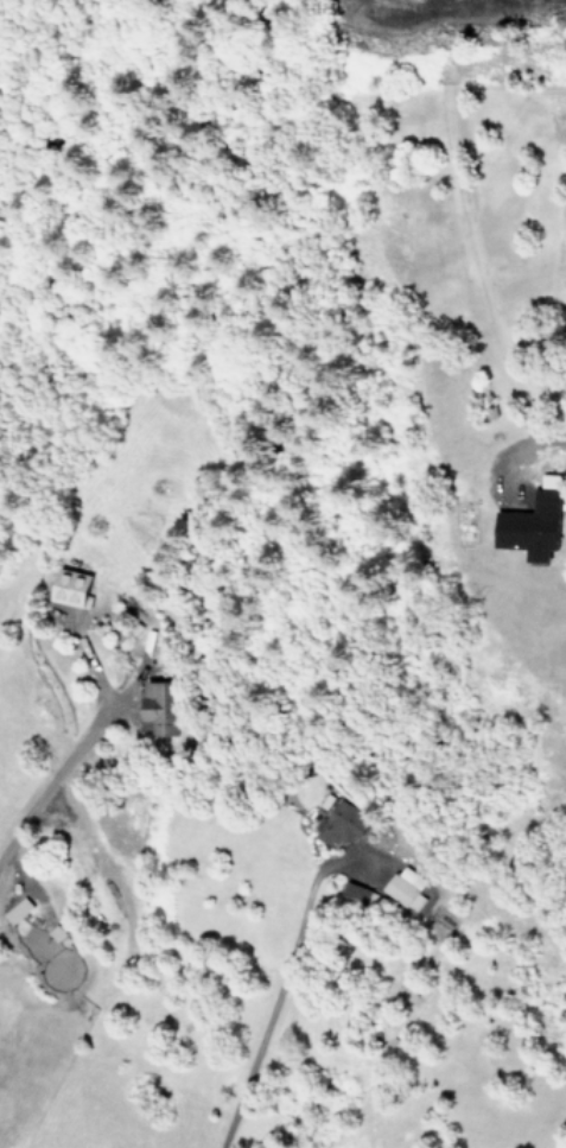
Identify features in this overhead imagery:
road: (553, 445)
building: (68, 588)
building: (159, 708)
building: (339, 825)
building: (405, 888)
building: (354, 893)
building: (15, 911)

